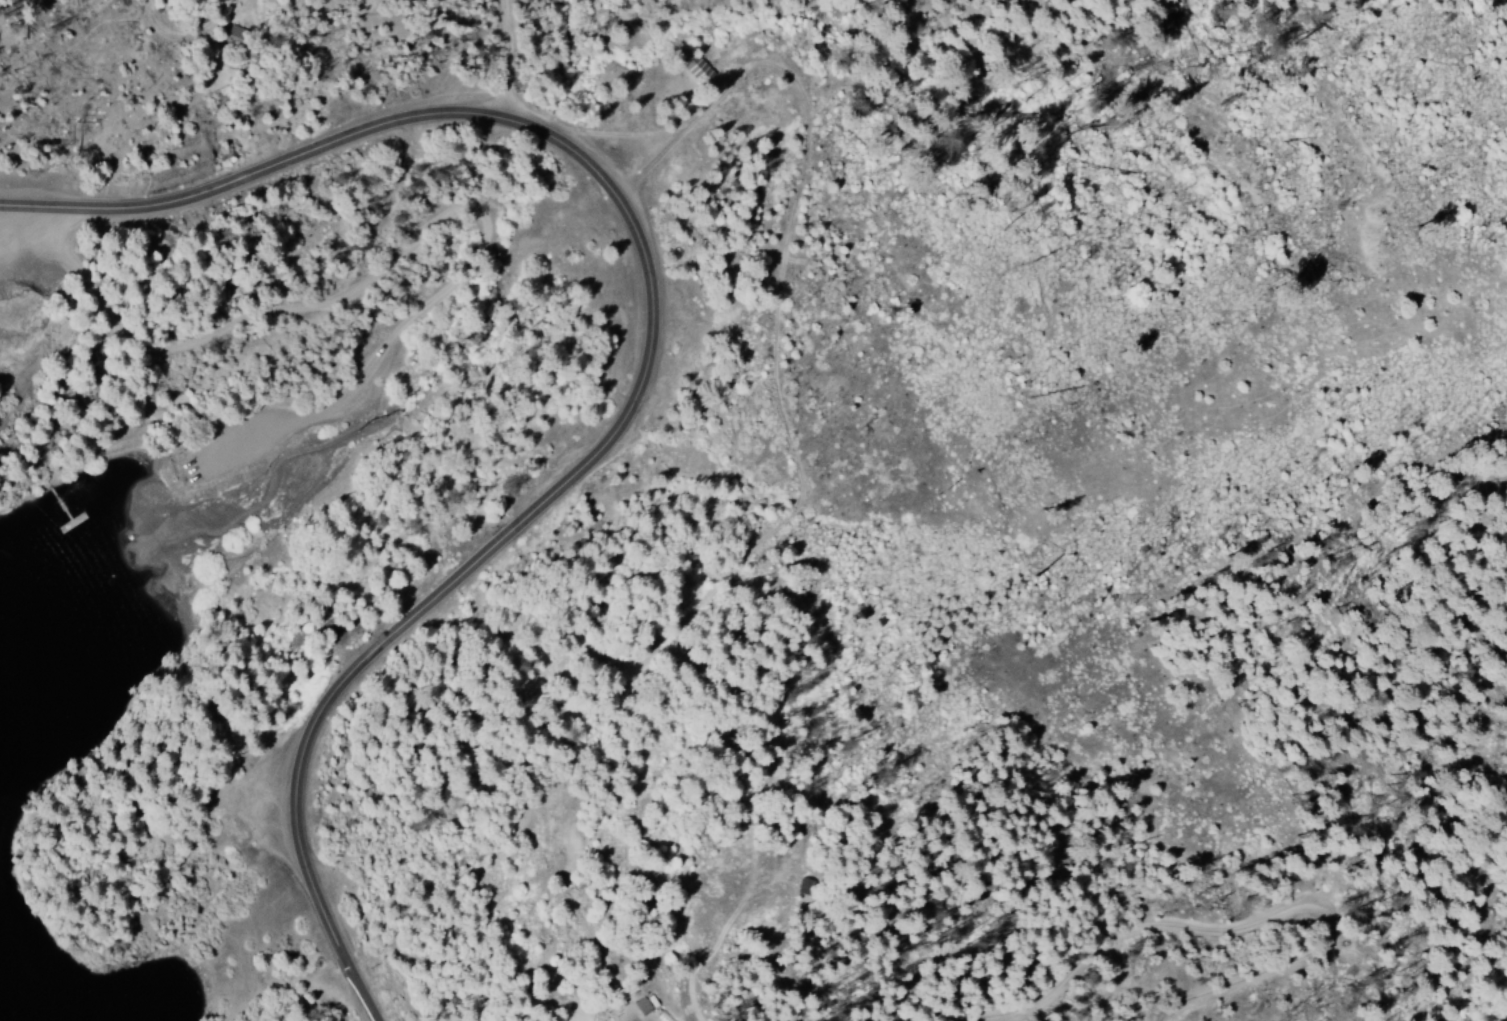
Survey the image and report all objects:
road: (500, 75)
road: (433, 293)
road: (674, 355)
road: (1198, 875)
building: (641, 1006)

